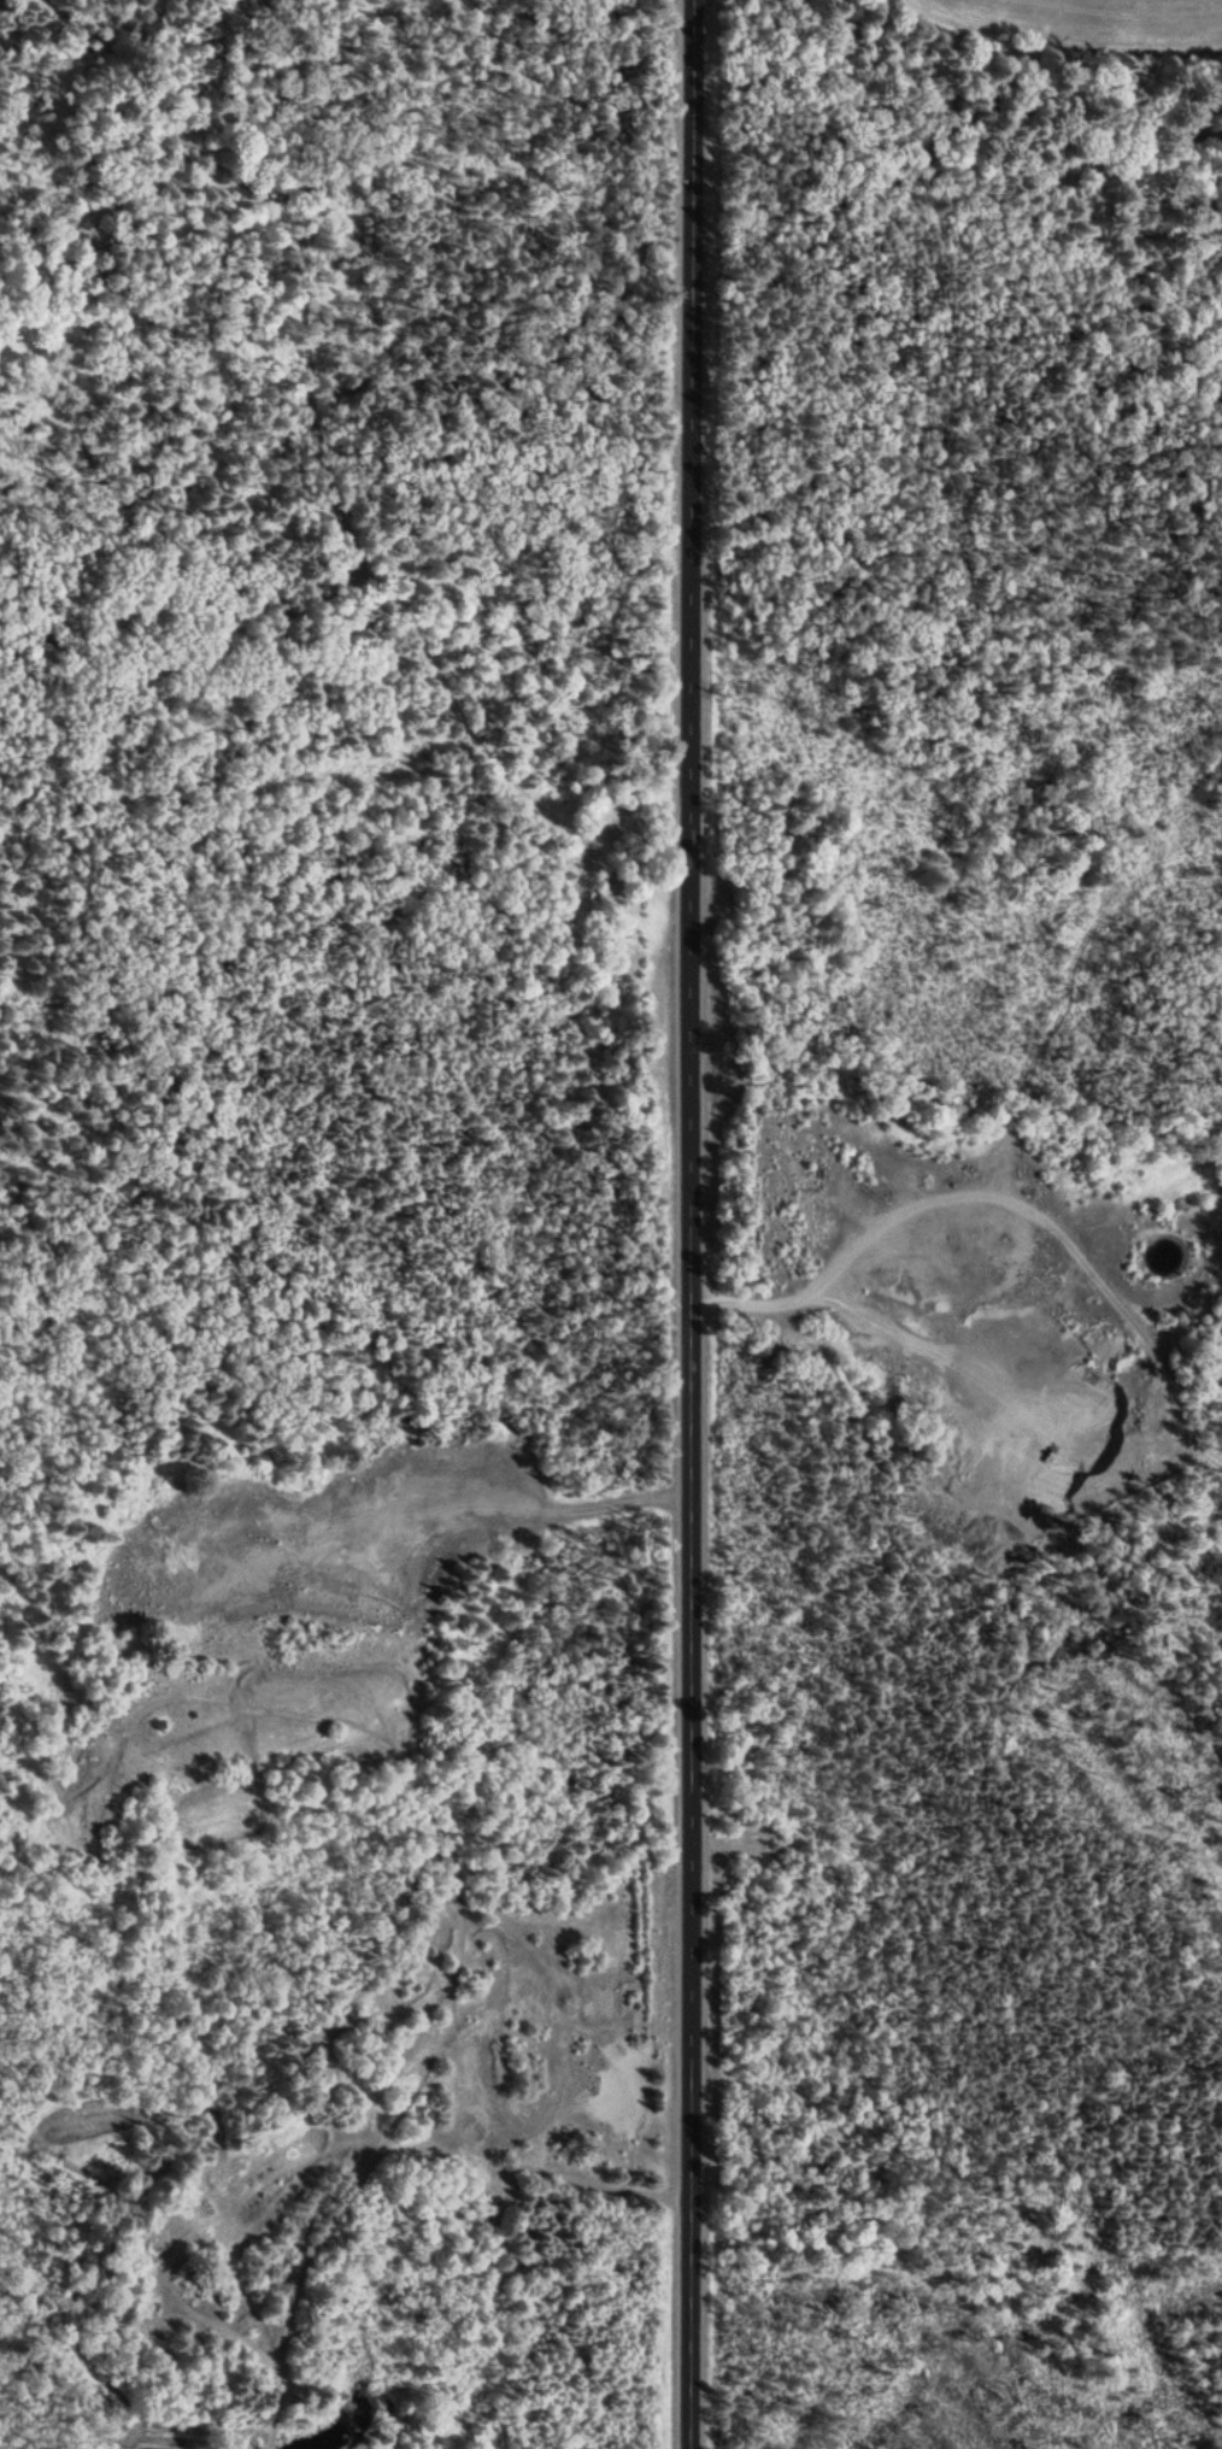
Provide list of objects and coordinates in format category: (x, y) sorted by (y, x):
road: (1003, 1205)
road: (683, 1223)

